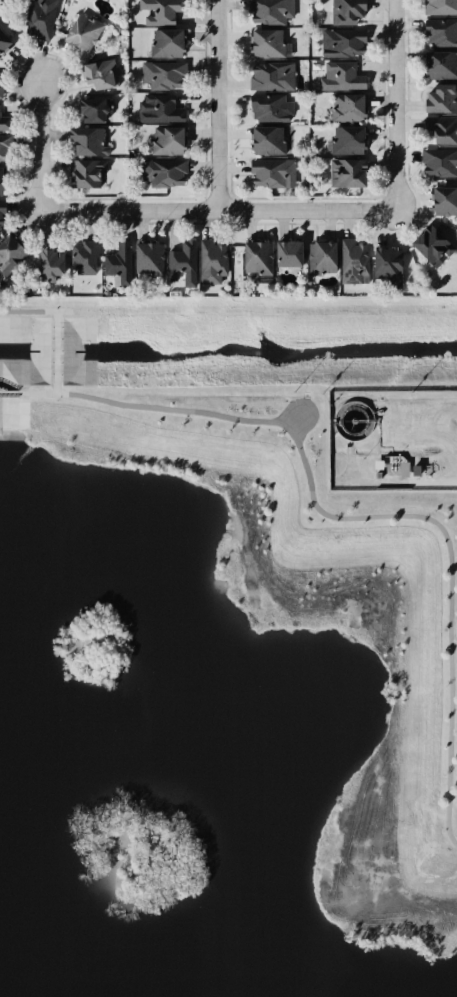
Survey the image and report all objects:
building: (440, 7)
building: (161, 11)
building: (270, 11)
building: (347, 11)
building: (40, 19)
building: (83, 33)
building: (441, 33)
building: (343, 42)
building: (4, 43)
building: (167, 43)
building: (269, 44)
building: (441, 65)
building: (100, 74)
building: (163, 75)
building: (272, 77)
building: (341, 77)
building: (1, 91)
road: (224, 104)
road: (403, 104)
building: (348, 107)
building: (159, 109)
building: (270, 109)
building: (94, 110)
building: (4, 123)
building: (442, 129)
building: (272, 140)
building: (88, 141)
building: (168, 141)
building: (346, 141)
road: (40, 148)
building: (4, 149)
building: (439, 162)
building: (86, 173)
building: (163, 173)
building: (272, 173)
building: (347, 173)
building: (1, 181)
building: (444, 201)
road: (221, 209)
building: (2, 214)
building: (432, 245)
building: (11, 254)
building: (289, 254)
building: (84, 258)
building: (149, 258)
building: (258, 258)
building: (322, 258)
building: (212, 262)
building: (354, 262)
building: (183, 263)
building: (119, 264)
building: (51, 265)
building: (388, 265)
road: (9, 394)
road: (44, 394)
wastewater plant: (392, 440)
road: (399, 483)
road: (380, 515)
park: (220, 705)

